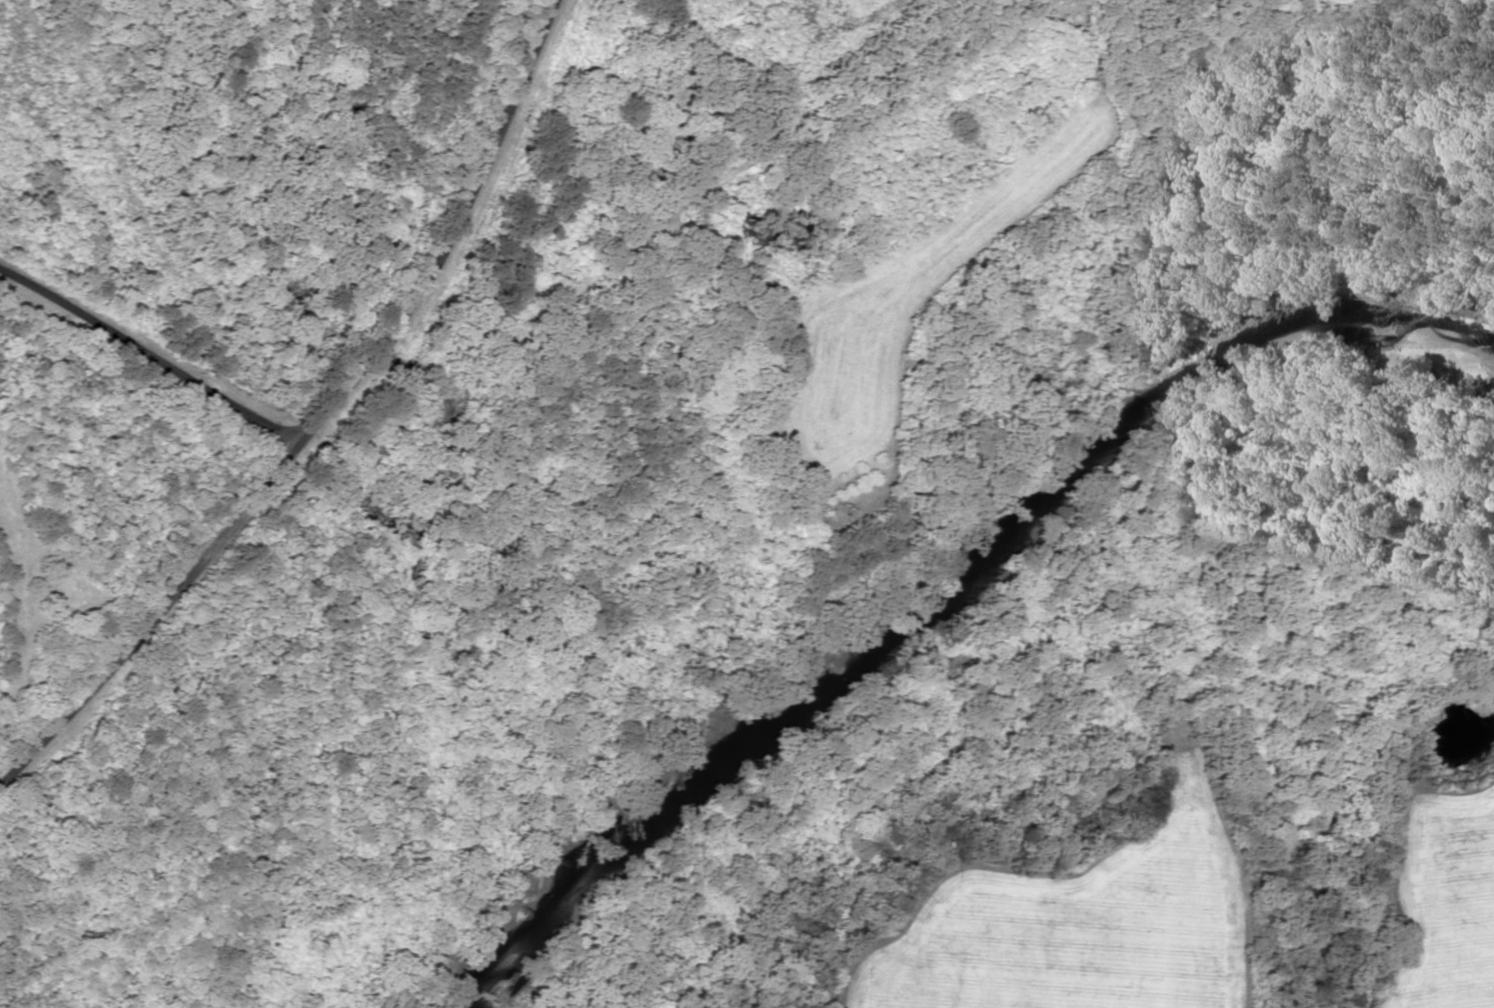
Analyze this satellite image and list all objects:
road: (152, 338)
road: (318, 414)

